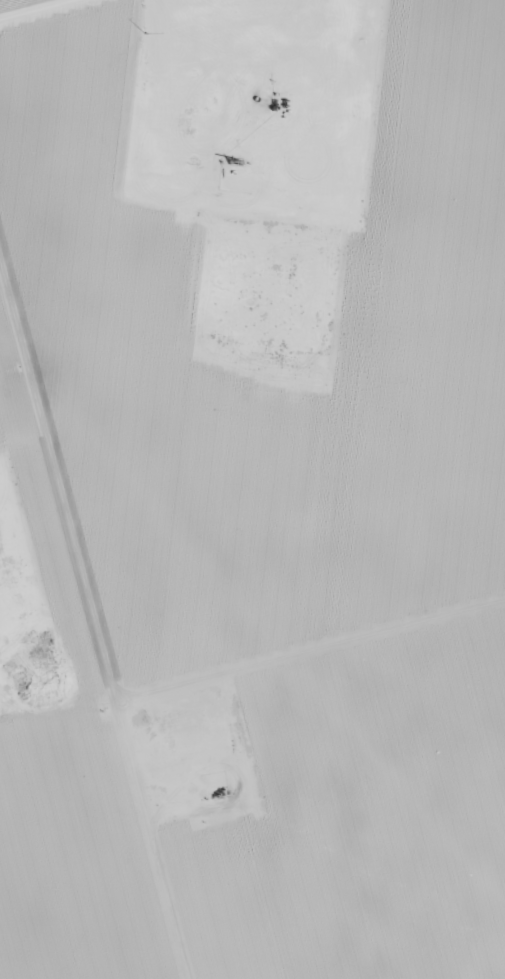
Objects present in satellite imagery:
road: (49, 12)

